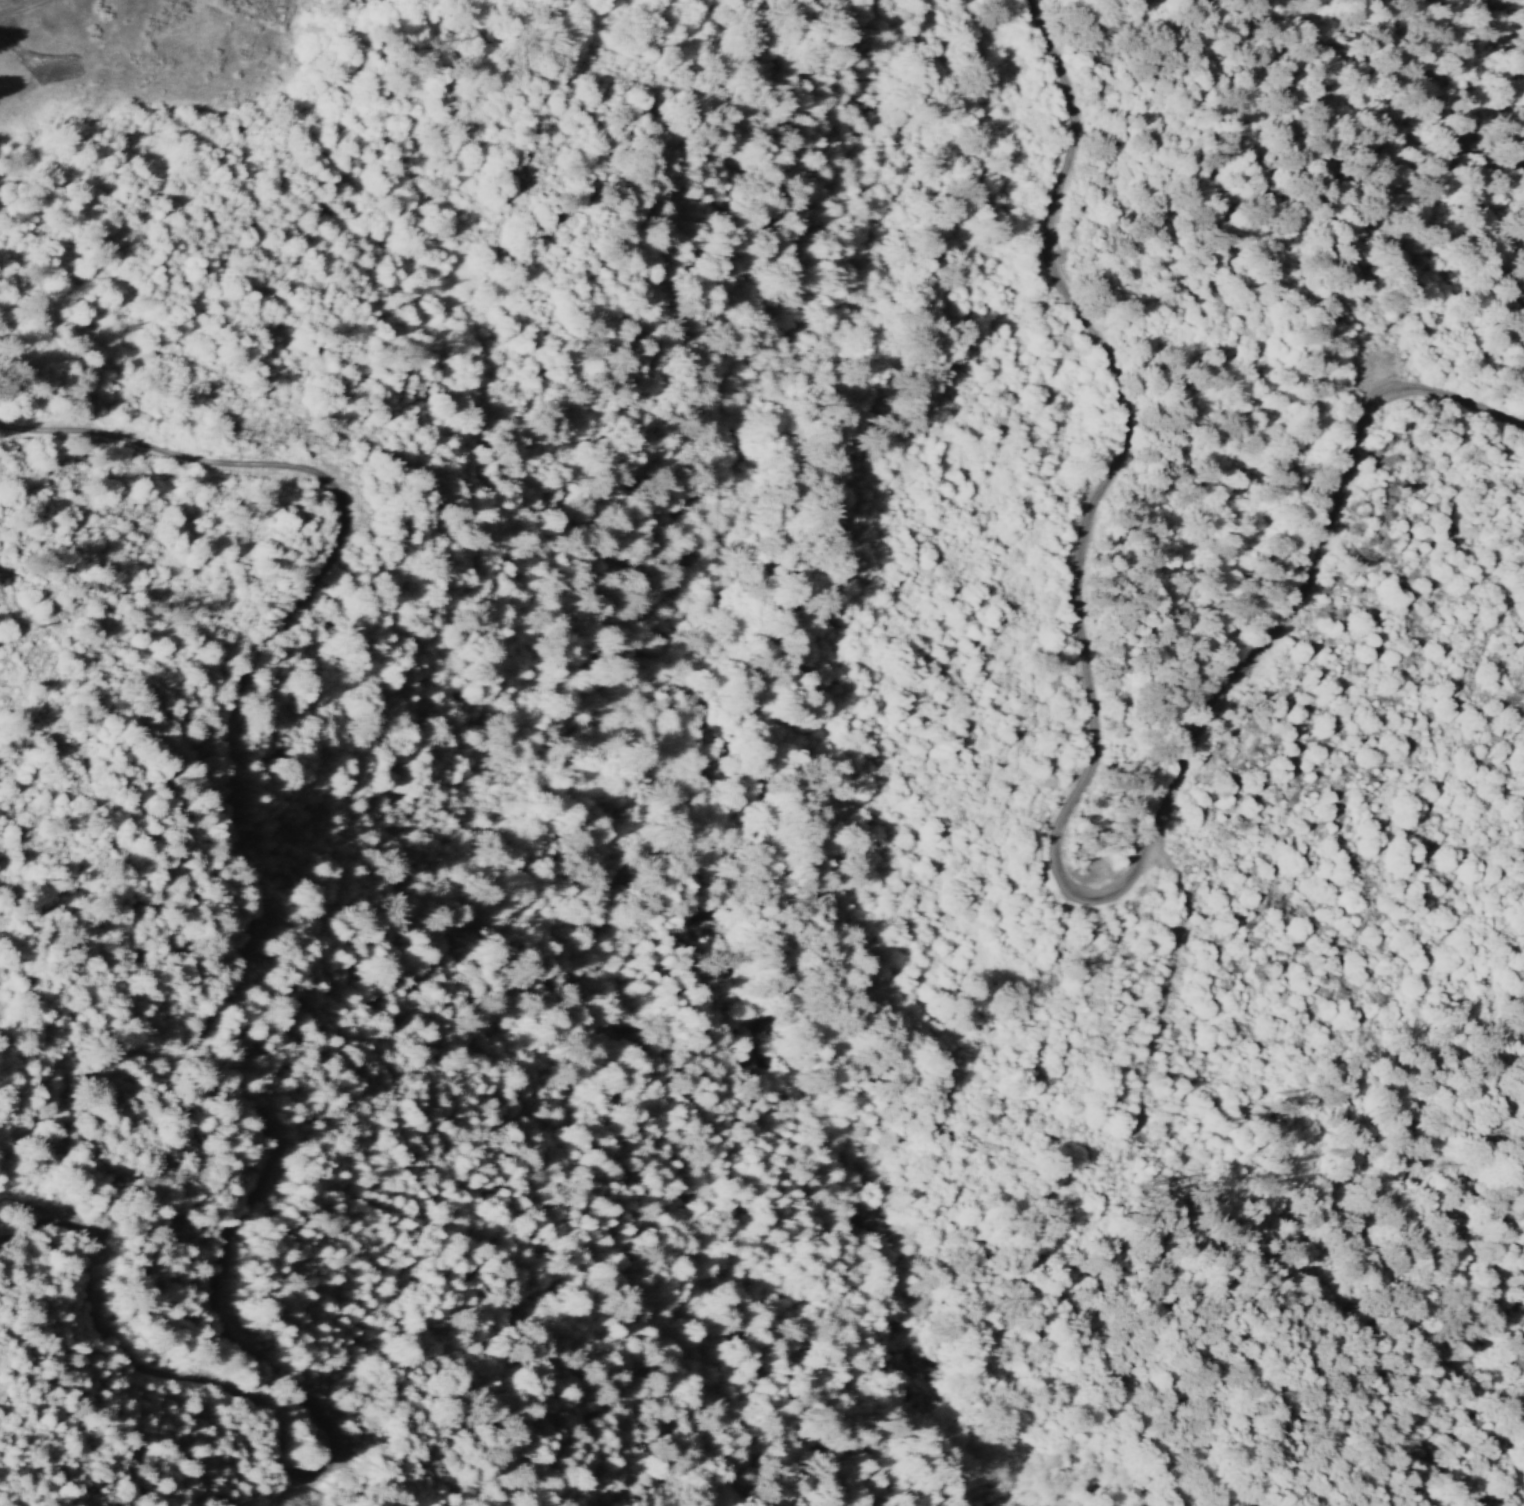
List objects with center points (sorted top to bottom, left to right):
road: (1063, 817)

